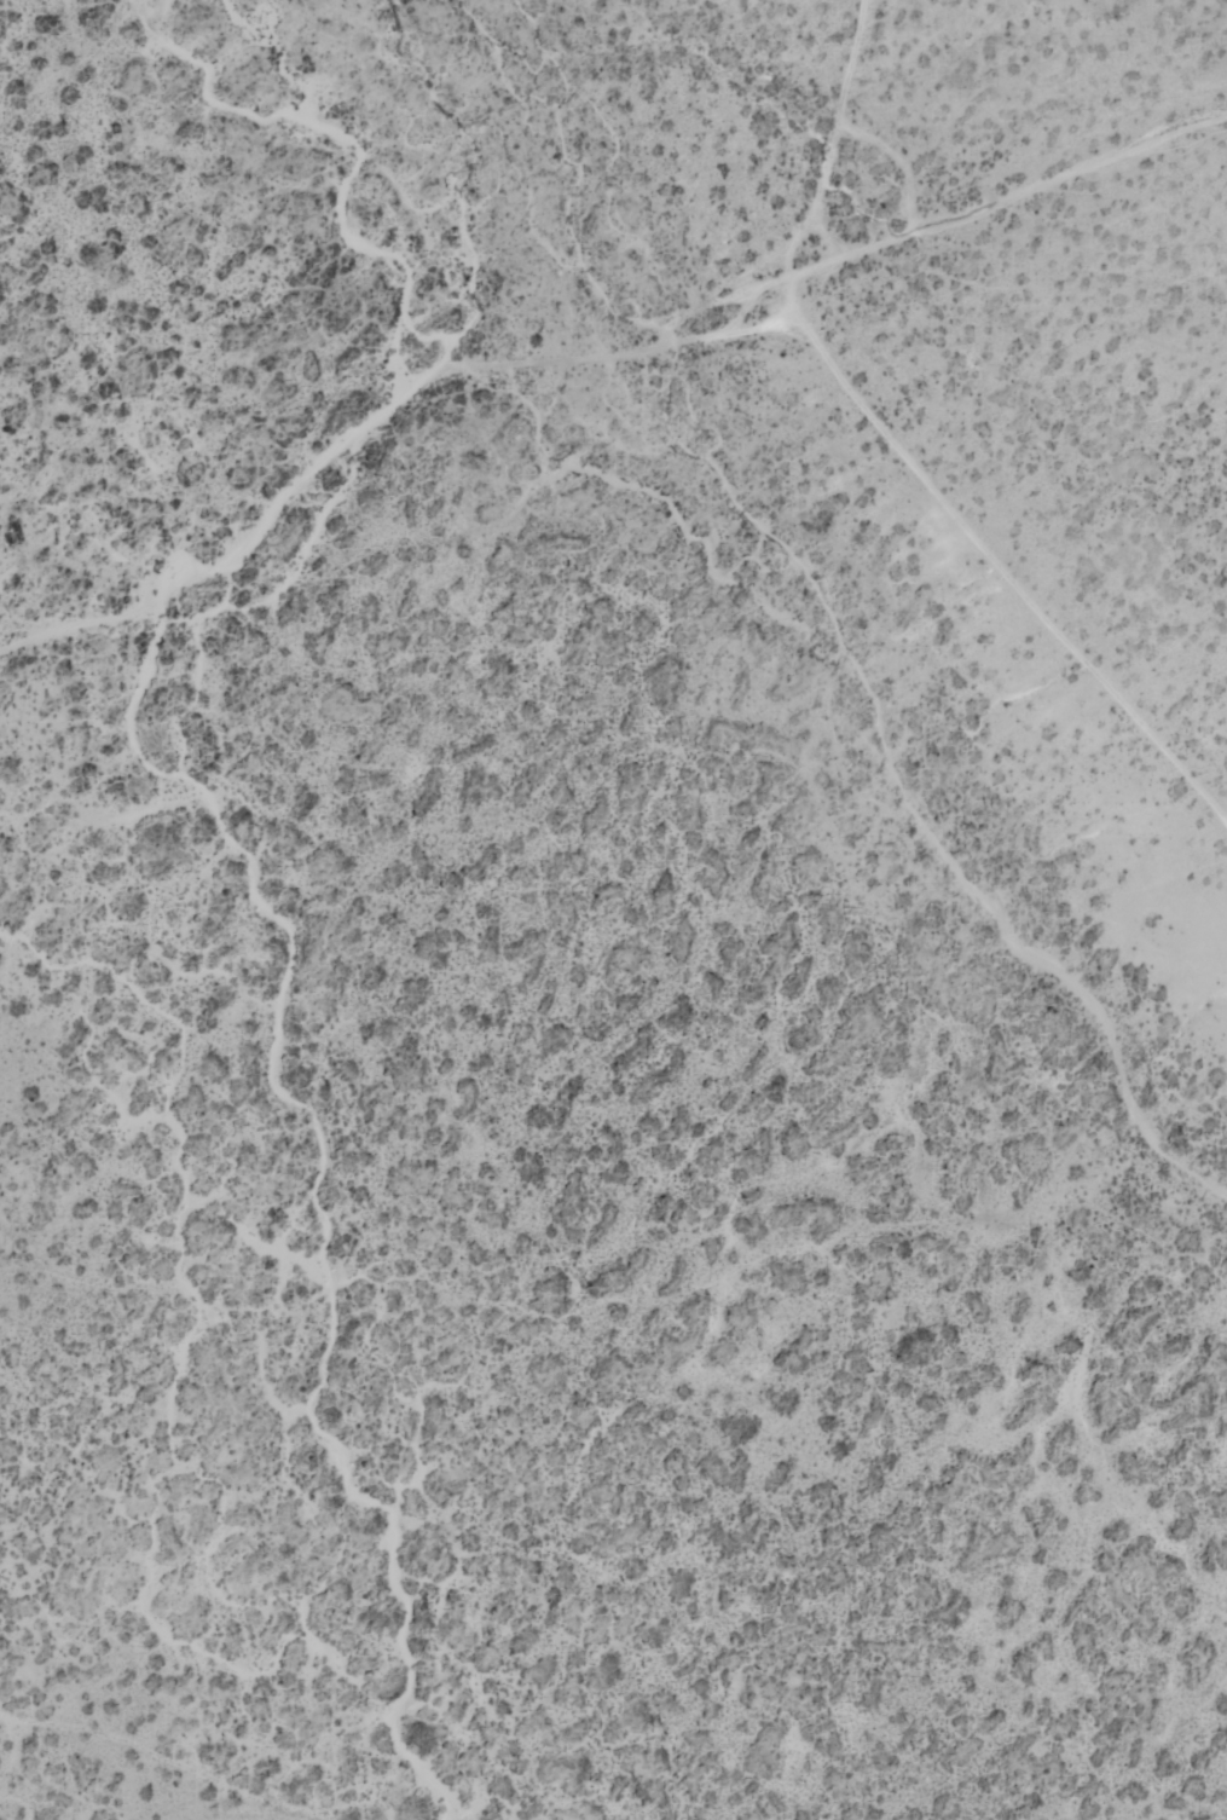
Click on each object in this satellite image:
road: (494, 342)

